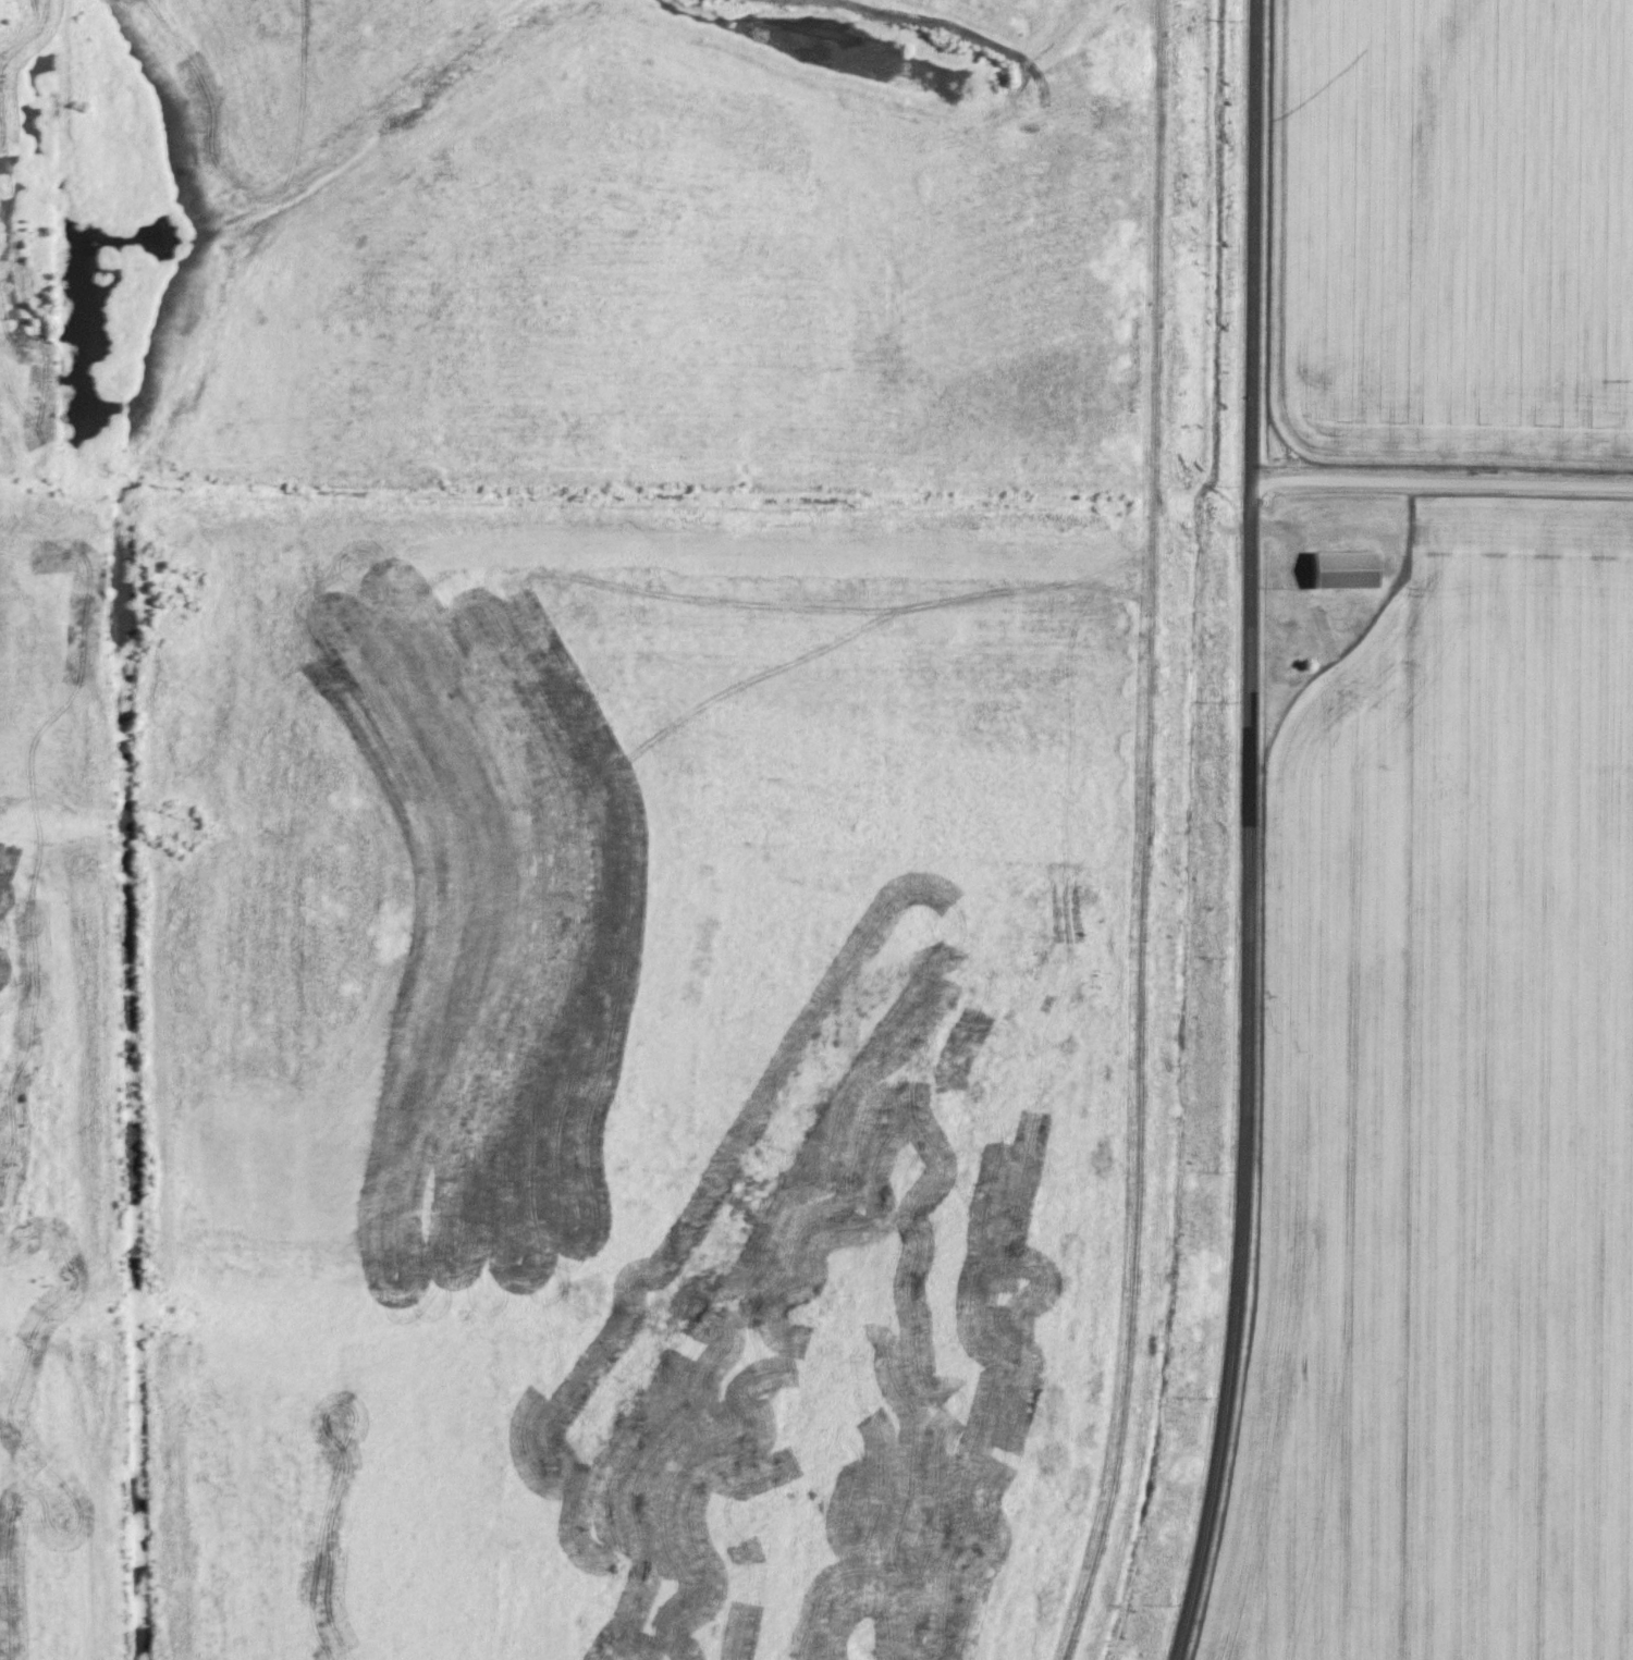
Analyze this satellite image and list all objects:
road: (1312, 479)
road: (1503, 482)
building: (1348, 567)
road: (1245, 833)

